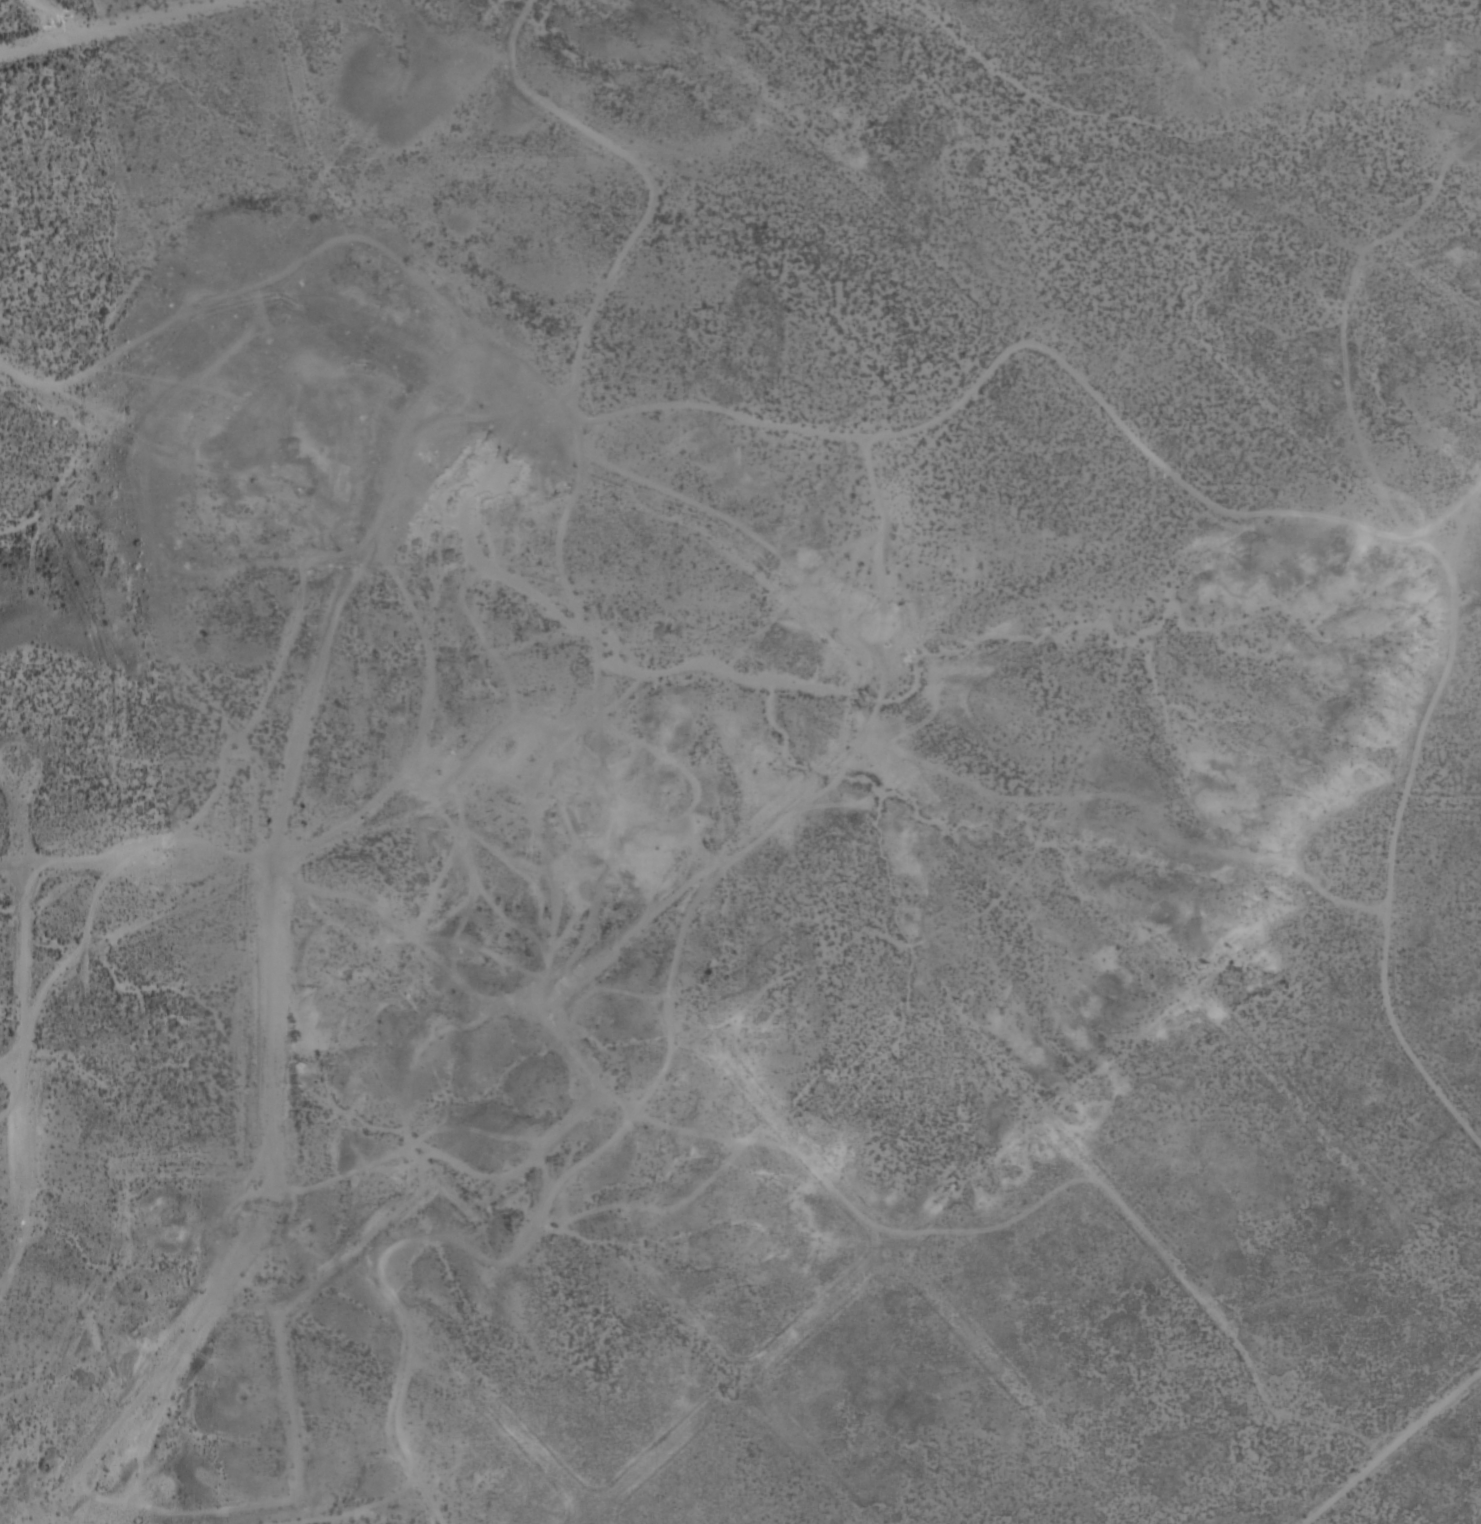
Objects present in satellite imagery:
road: (53, 19)
road: (37, 48)
road: (1265, 149)
road: (1384, 1440)
quarry: (111, 1518)

